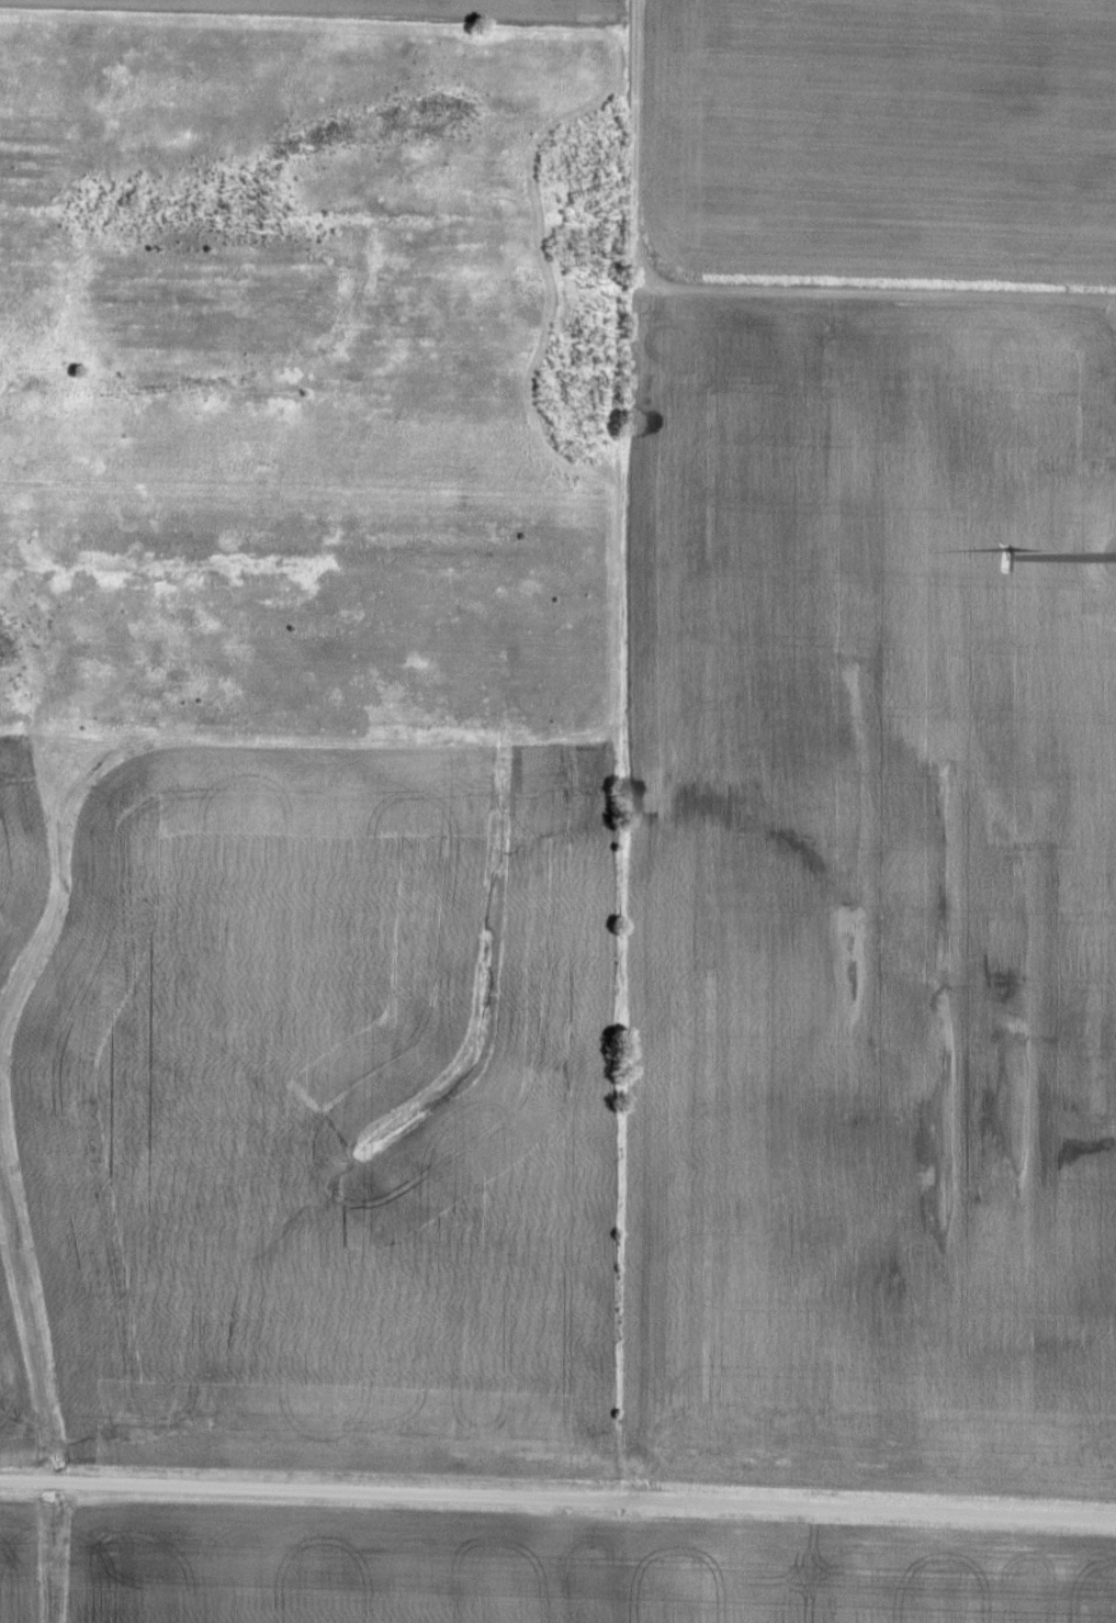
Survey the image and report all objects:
road: (732, 291)
wind turbine: (1111, 558)
road: (557, 1496)

